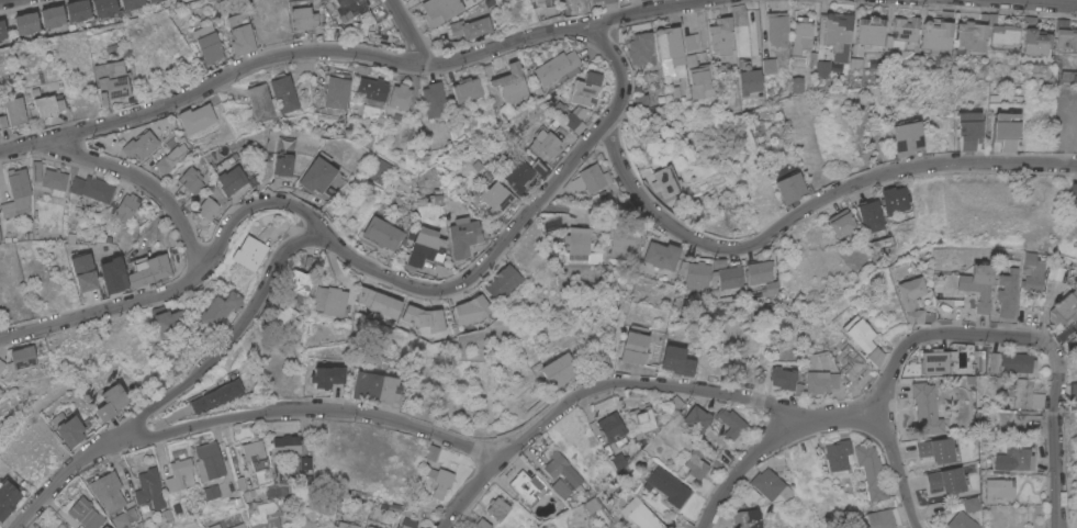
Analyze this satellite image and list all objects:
building: (153, 0)
building: (593, 0)
building: (545, 1)
building: (606, 1)
road: (1047, 1)
building: (131, 3)
building: (487, 3)
building: (103, 8)
building: (348, 8)
building: (77, 10)
building: (439, 10)
building: (550, 11)
building: (52, 16)
building: (302, 18)
building: (26, 23)
building: (470, 26)
building: (358, 27)
building: (777, 29)
building: (2, 30)
building: (871, 30)
road: (411, 31)
building: (902, 32)
building: (239, 33)
building: (838, 34)
building: (935, 34)
building: (1003, 34)
building: (720, 35)
building: (801, 35)
building: (971, 35)
building: (1066, 37)
building: (0, 41)
building: (689, 41)
building: (1036, 42)
building: (210, 48)
building: (639, 48)
building: (667, 48)
road: (346, 52)
building: (770, 65)
building: (854, 65)
building: (556, 66)
building: (823, 68)
building: (487, 70)
building: (697, 76)
building: (112, 78)
building: (751, 81)
building: (511, 82)
building: (800, 85)
building: (675, 88)
building: (584, 89)
building: (369, 90)
building: (467, 90)
building: (335, 92)
building: (283, 93)
building: (400, 96)
building: (434, 99)
building: (640, 101)
building: (258, 103)
building: (46, 104)
building: (14, 110)
building: (572, 115)
building: (195, 117)
building: (2, 122)
building: (969, 130)
building: (1006, 131)
building: (438, 134)
building: (906, 137)
building: (545, 142)
building: (139, 144)
building: (170, 157)
building: (282, 165)
building: (378, 169)
building: (482, 169)
building: (36, 170)
building: (521, 173)
building: (316, 175)
road: (562, 175)
building: (588, 178)
building: (191, 180)
building: (228, 180)
building: (666, 180)
building: (54, 181)
road: (142, 181)
building: (92, 188)
building: (790, 188)
building: (16, 193)
building: (496, 198)
building: (895, 200)
building: (1073, 200)
building: (126, 205)
building: (206, 207)
road: (807, 207)
building: (872, 216)
building: (842, 222)
building: (382, 233)
building: (463, 237)
building: (0, 238)
road: (221, 238)
building: (626, 243)
building: (579, 244)
building: (425, 246)
building: (250, 252)
building: (662, 255)
building: (1028, 259)
building: (148, 270)
building: (760, 271)
building: (113, 274)
building: (697, 277)
building: (731, 277)
building: (298, 281)
building: (503, 281)
building: (1032, 281)
building: (977, 285)
building: (772, 288)
building: (1007, 293)
building: (363, 295)
building: (298, 300)
building: (333, 300)
building: (911, 300)
building: (385, 305)
building: (1066, 307)
building: (946, 308)
building: (220, 310)
building: (470, 310)
building: (284, 318)
building: (424, 318)
building: (170, 325)
road: (974, 336)
building: (862, 339)
building: (878, 342)
building: (1075, 342)
building: (633, 347)
road: (226, 348)
building: (22, 357)
building: (599, 360)
building: (676, 360)
building: (936, 360)
building: (994, 362)
building: (1016, 362)
building: (1, 364)
building: (633, 368)
building: (559, 370)
building: (821, 373)
building: (326, 375)
building: (783, 378)
building: (374, 386)
building: (0, 390)
building: (1073, 390)
building: (1021, 392)
building: (216, 395)
building: (111, 402)
building: (675, 403)
building: (925, 409)
building: (696, 418)
building: (641, 420)
building: (730, 423)
building: (613, 429)
building: (69, 431)
road: (441, 438)
building: (284, 446)
building: (254, 454)
building: (838, 454)
building: (617, 460)
building: (1014, 460)
building: (209, 461)
building: (696, 462)
road: (745, 462)
building: (305, 463)
building: (871, 471)
building: (548, 473)
building: (179, 474)
road: (808, 479)
building: (438, 480)
building: (943, 480)
building: (524, 485)
building: (667, 485)
building: (771, 485)
building: (998, 488)
building: (148, 491)
building: (211, 492)
road: (470, 492)
building: (7, 497)
building: (109, 497)
building: (750, 498)
building: (969, 504)
building: (592, 505)
building: (497, 507)
building: (85, 513)
building: (263, 514)
building: (640, 514)
building: (299, 518)
building: (747, 518)
building: (882, 518)
building: (349, 519)
building: (961, 521)
building: (231, 523)
building: (481, 524)
building: (609, 524)
building: (214, 526)
building: (371, 526)
building: (404, 526)
building: (104, 527)

